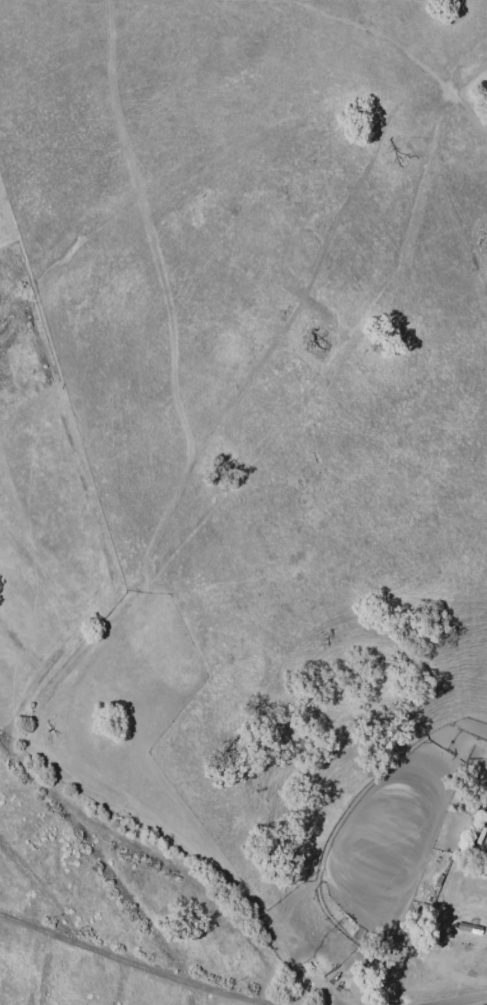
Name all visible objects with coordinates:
building: (465, 929)
road: (136, 963)
road: (462, 1001)

